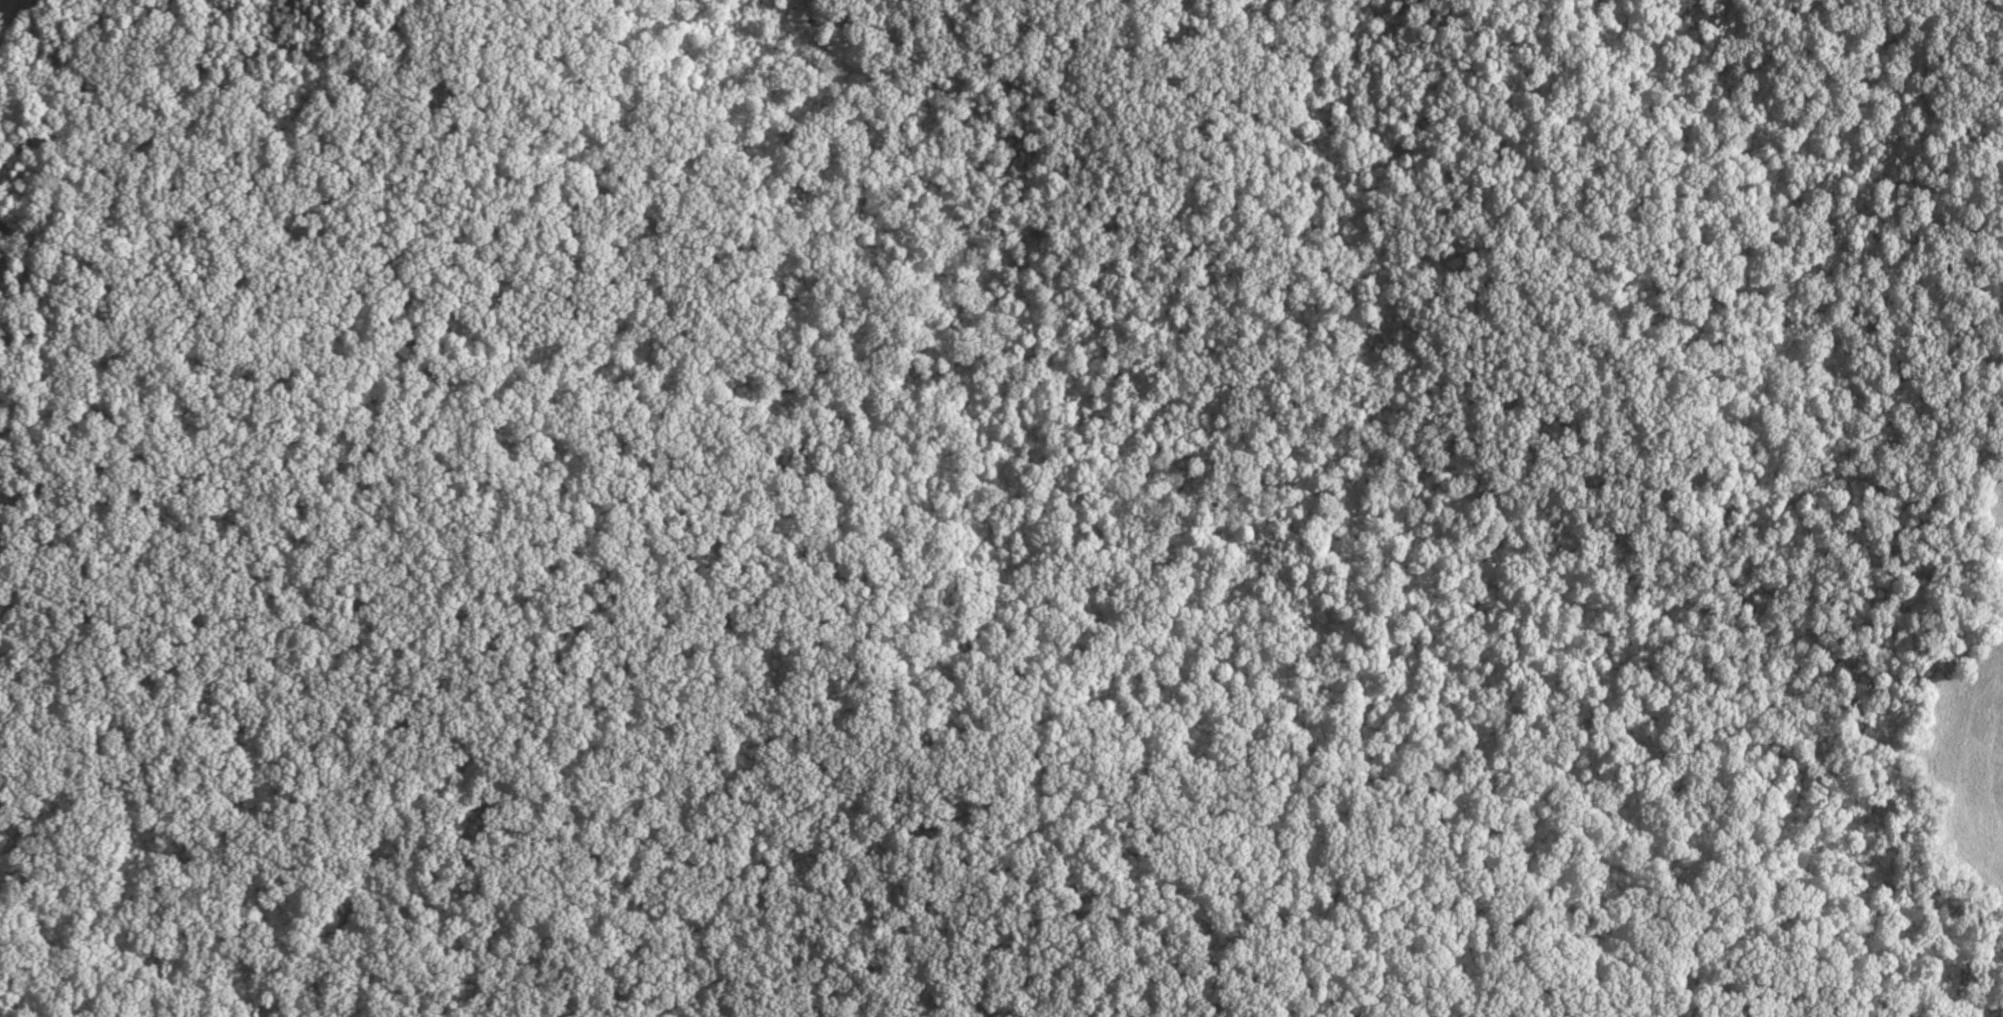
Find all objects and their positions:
road: (9, 16)

